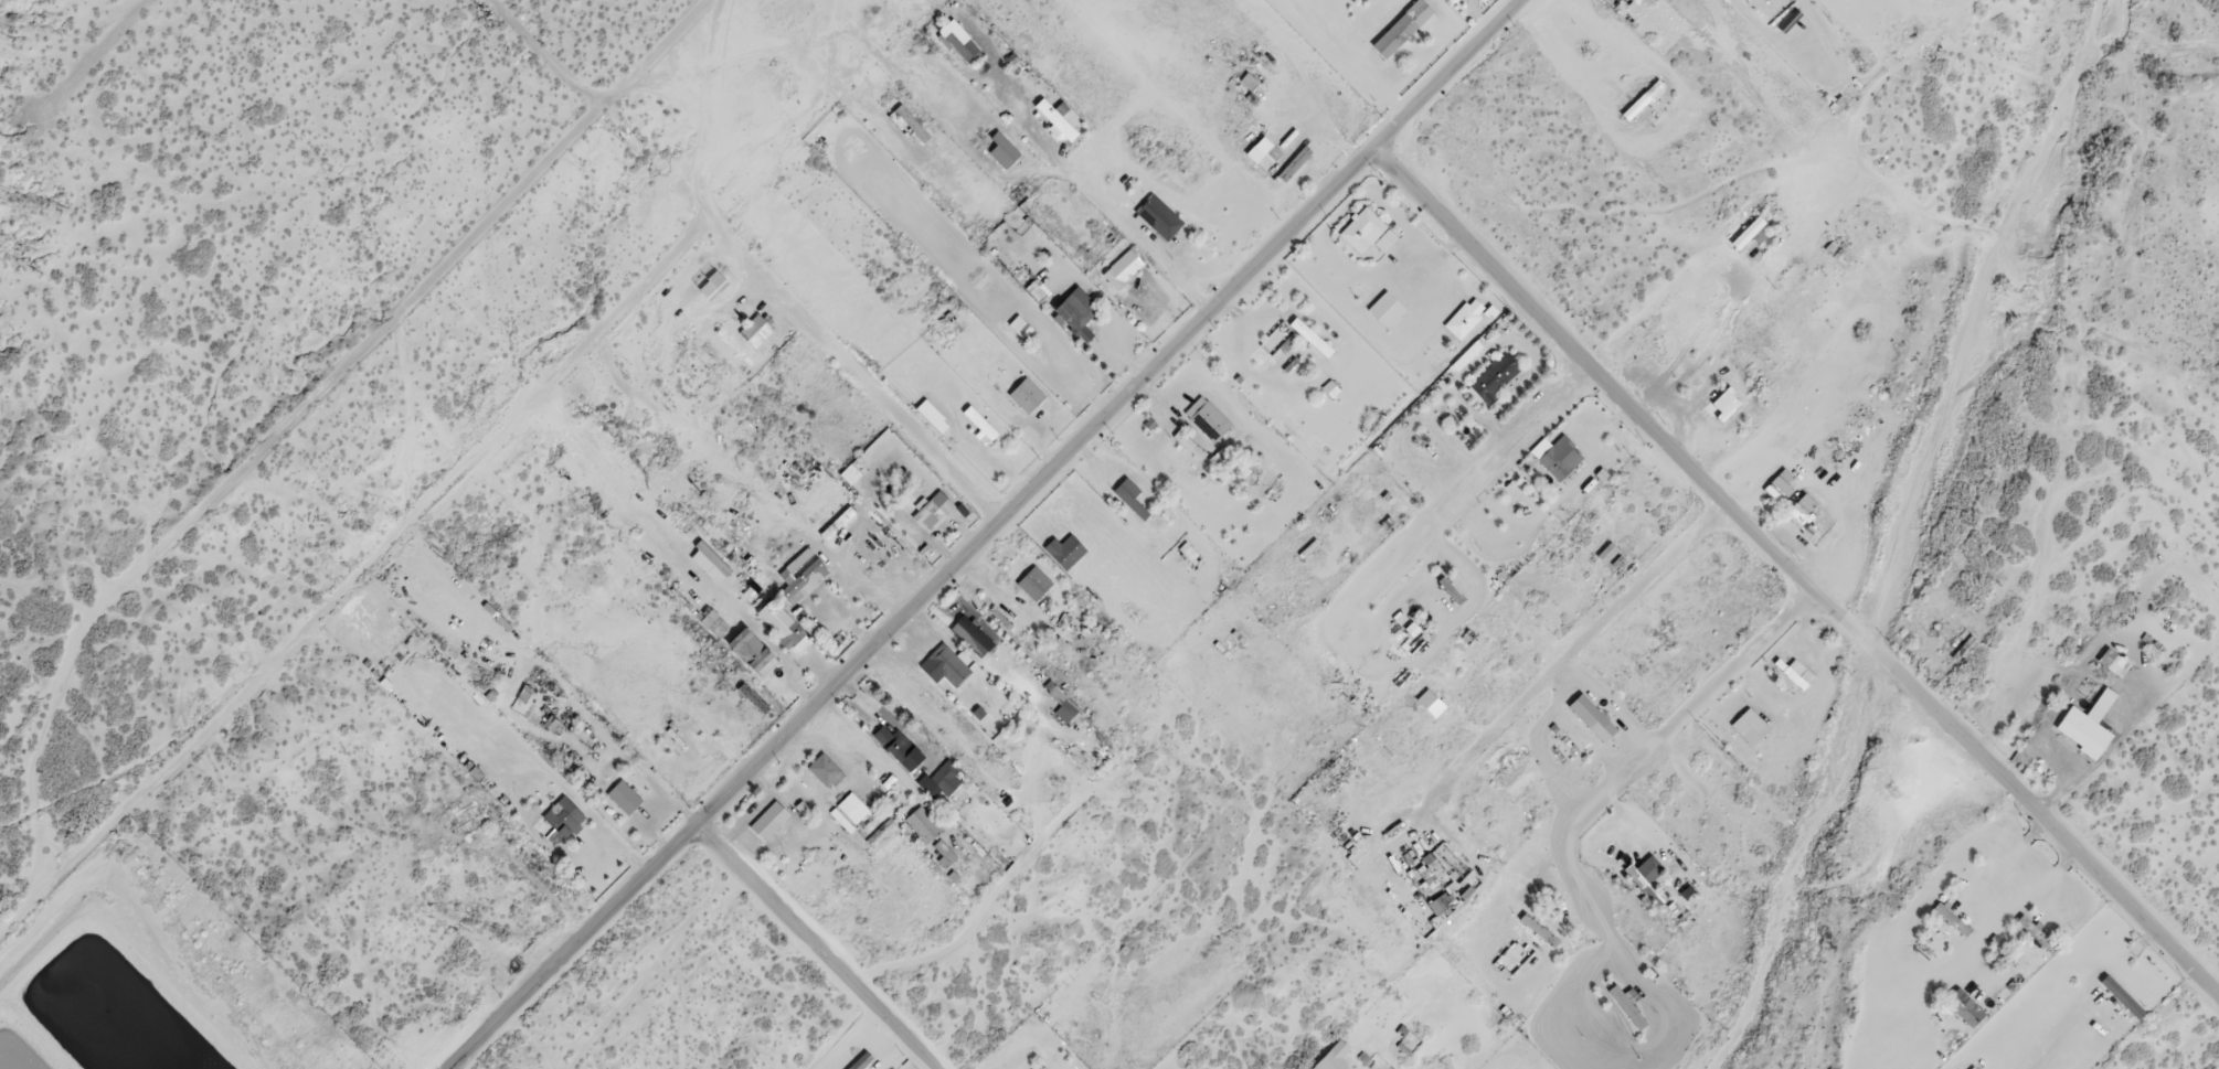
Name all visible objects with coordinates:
building: (1402, 26)
building: (1644, 96)
building: (1054, 120)
building: (913, 122)
building: (1262, 145)
building: (1150, 203)
building: (1370, 231)
building: (1124, 267)
building: (711, 276)
road: (402, 309)
road: (799, 313)
building: (1468, 313)
building: (757, 327)
building: (1022, 345)
building: (1497, 374)
building: (1027, 394)
building: (1728, 397)
building: (1196, 445)
building: (1561, 457)
building: (1783, 483)
building: (1803, 505)
road: (1437, 506)
building: (935, 507)
building: (838, 520)
road: (983, 531)
building: (1066, 548)
road: (1795, 578)
building: (1036, 580)
building: (779, 617)
road: (1584, 641)
building: (2112, 658)
building: (949, 661)
building: (1799, 673)
building: (1068, 706)
building: (1751, 723)
building: (2083, 728)
building: (898, 737)
road: (1653, 758)
building: (827, 765)
building: (626, 793)
building: (564, 815)
building: (772, 815)
building: (1952, 918)
building: (1540, 926)
road: (821, 942)
building: (1335, 1052)
building: (1033, 1068)

